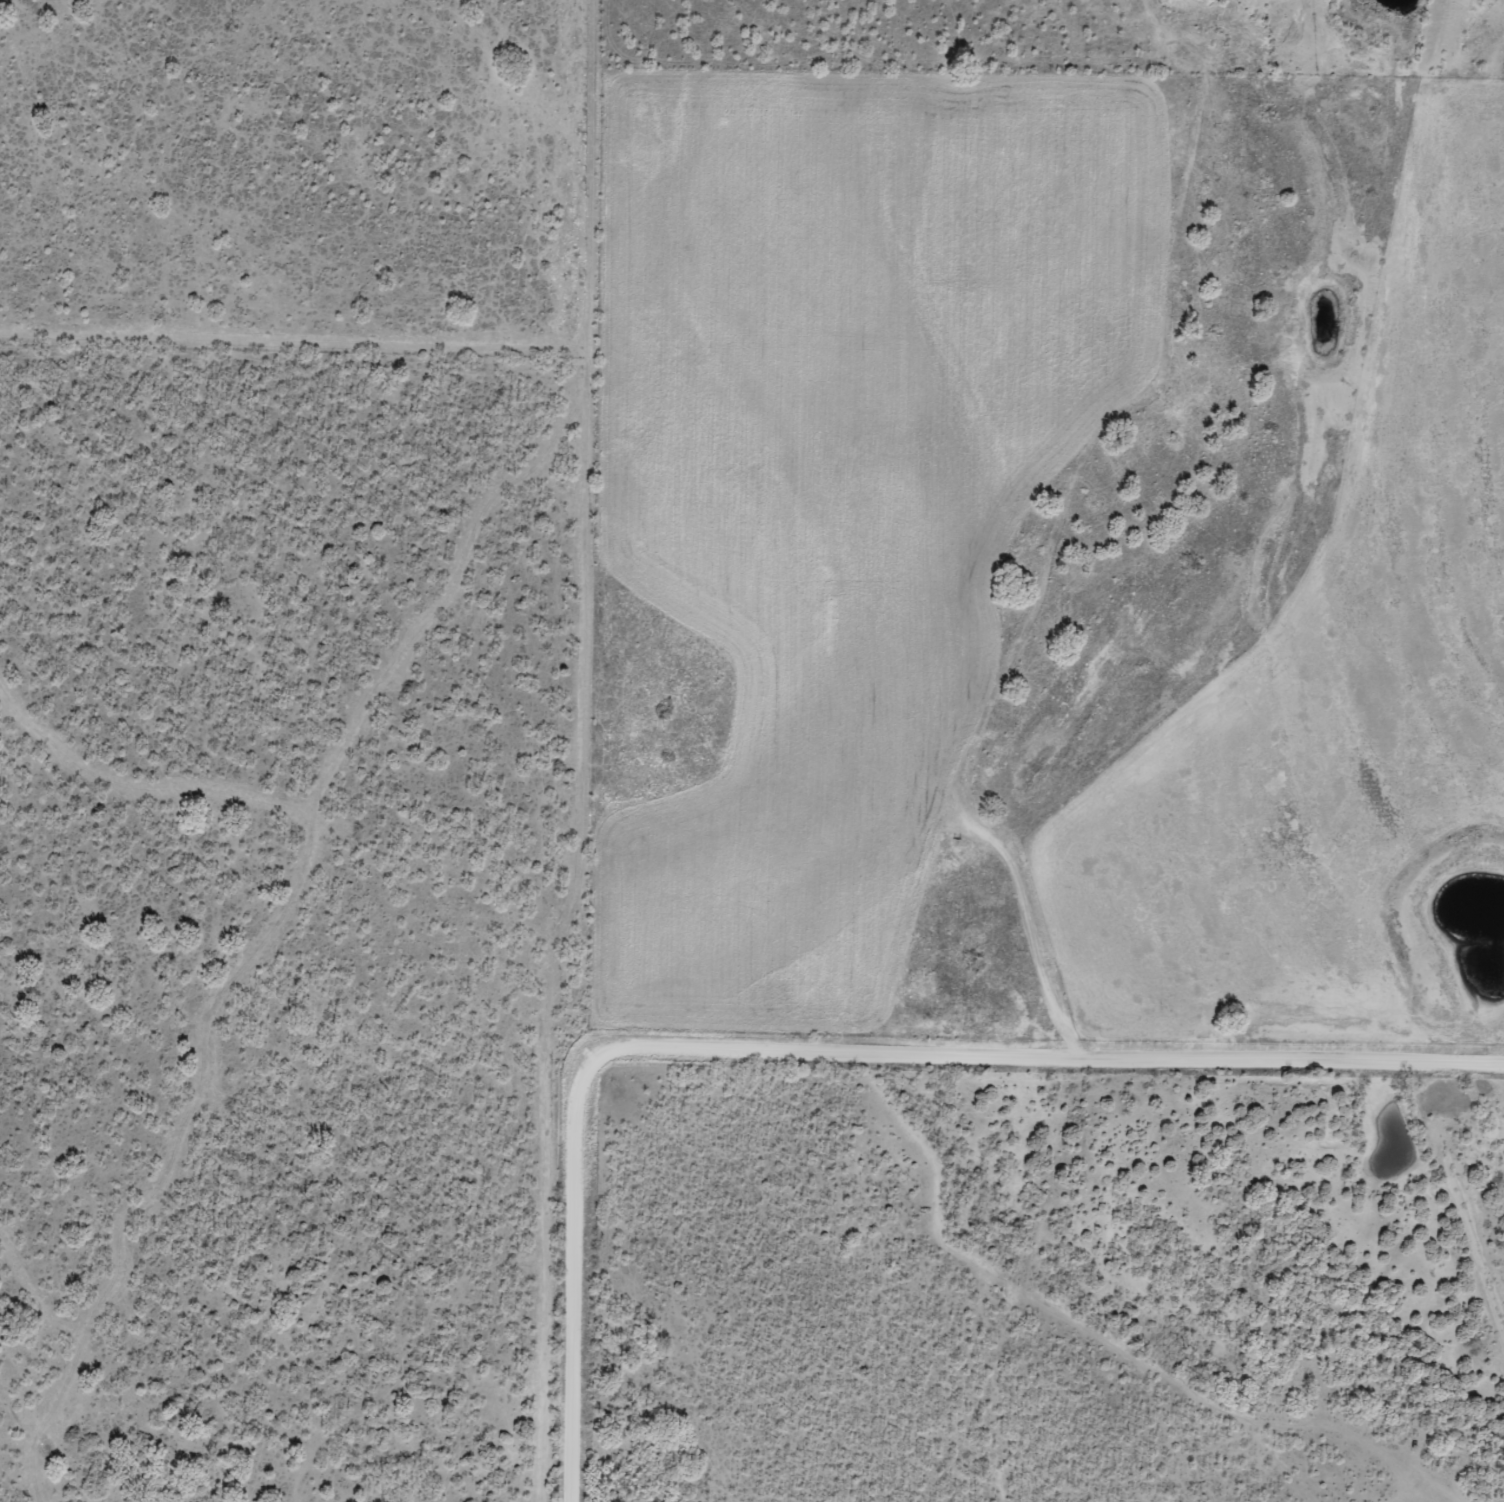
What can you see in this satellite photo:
road: (848, 1065)

